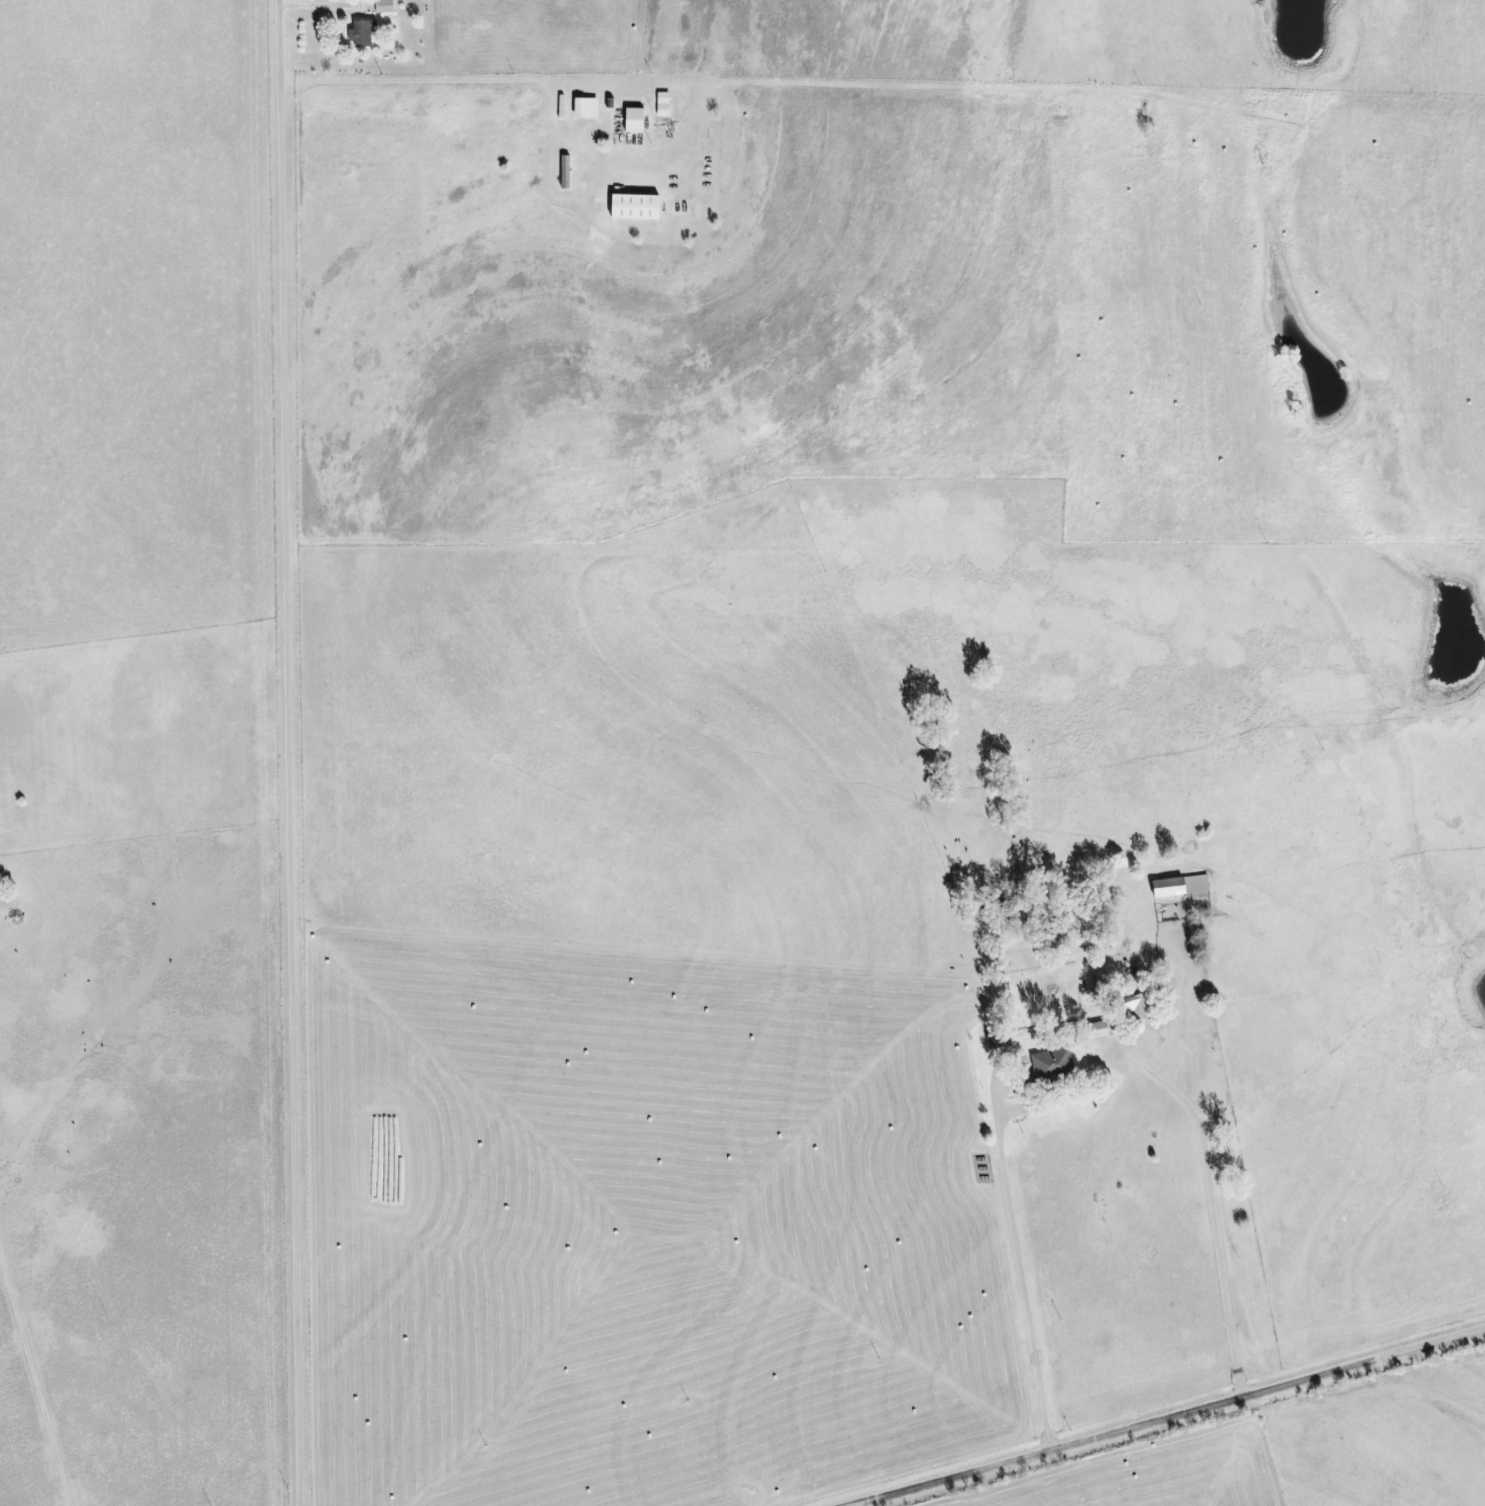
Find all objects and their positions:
building: (385, 6)
building: (362, 34)
building: (587, 107)
building: (635, 120)
building: (566, 172)
building: (636, 207)
road: (294, 753)
building: (1181, 885)
road: (823, 997)
building: (1138, 1006)
building: (1054, 1061)
road: (1217, 1215)
road: (36, 1386)
road: (1165, 1416)

